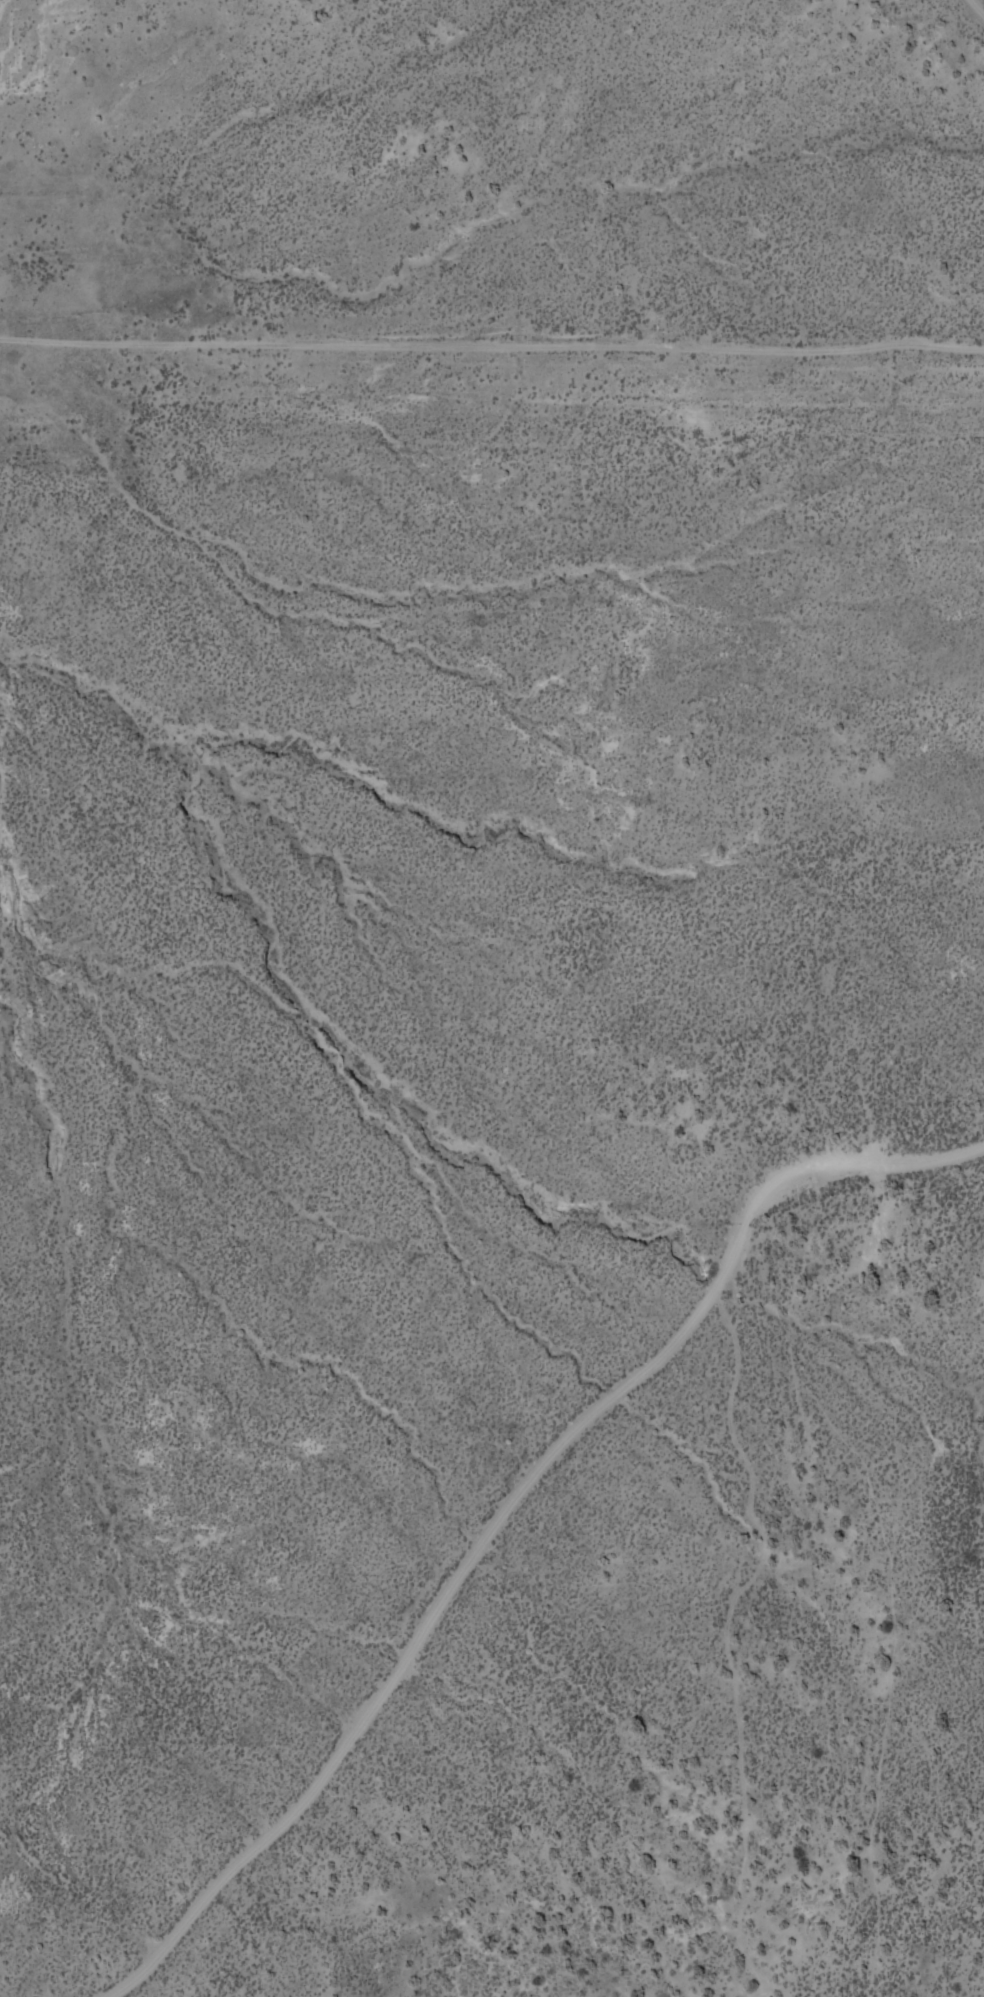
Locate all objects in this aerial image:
road: (506, 1504)

